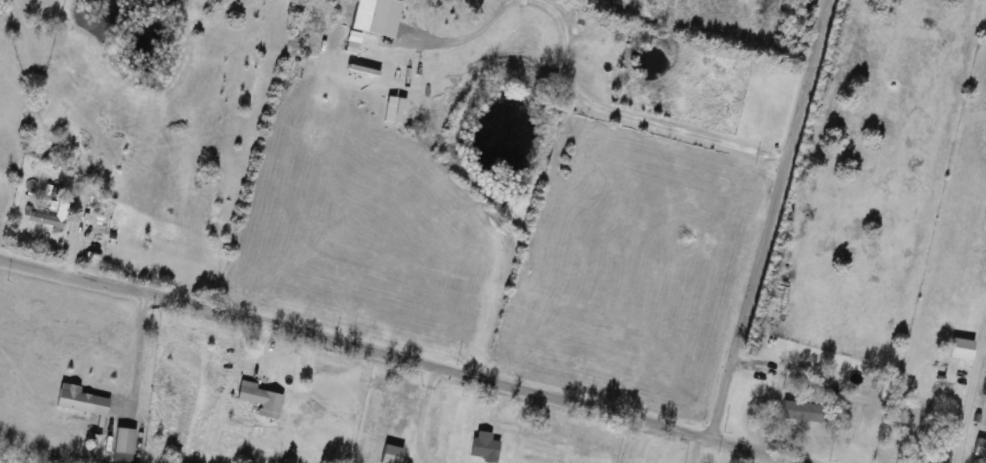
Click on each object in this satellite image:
road: (450, 40)
road: (623, 113)
road: (764, 218)
building: (45, 220)
road: (137, 353)
road: (399, 355)
building: (79, 399)
building: (260, 399)
building: (800, 411)
road: (414, 416)
building: (122, 444)
building: (483, 446)
building: (979, 449)
building: (390, 454)

